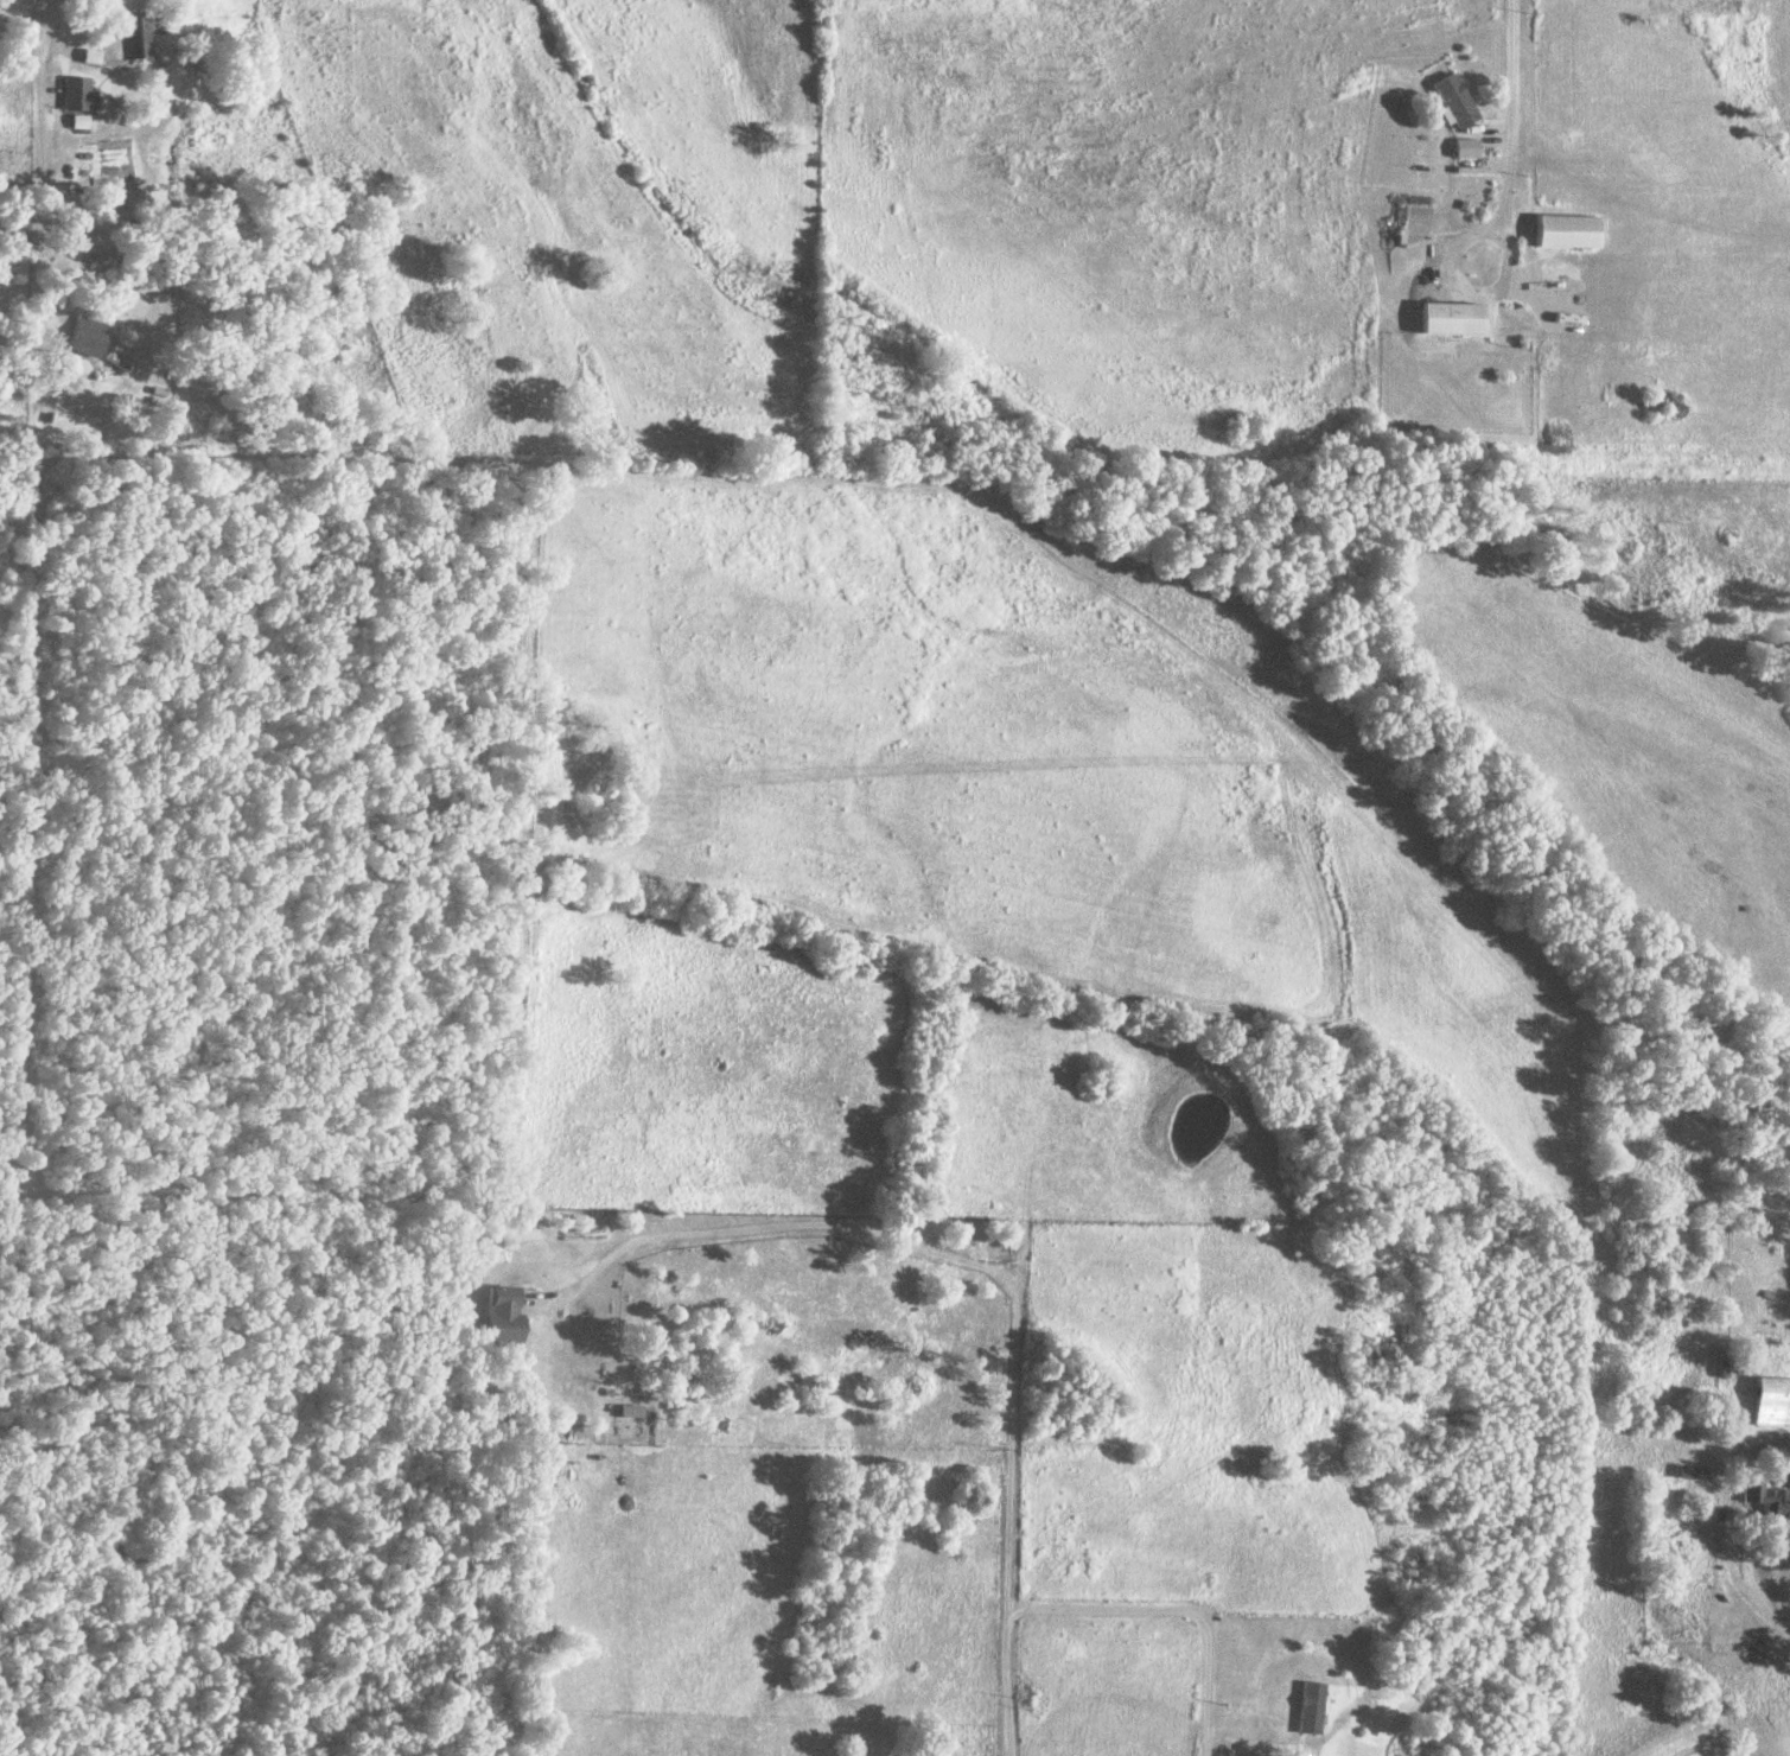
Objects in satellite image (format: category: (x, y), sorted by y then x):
building: (129, 37)
road: (1505, 74)
building: (76, 94)
building: (1446, 100)
road: (33, 146)
building: (1457, 148)
building: (1558, 231)
building: (1442, 319)
road: (976, 1268)
building: (499, 1318)
building: (1731, 1366)
building: (1765, 1404)
building: (629, 1413)
building: (1763, 1501)
road: (1753, 1609)
road: (1170, 1610)

